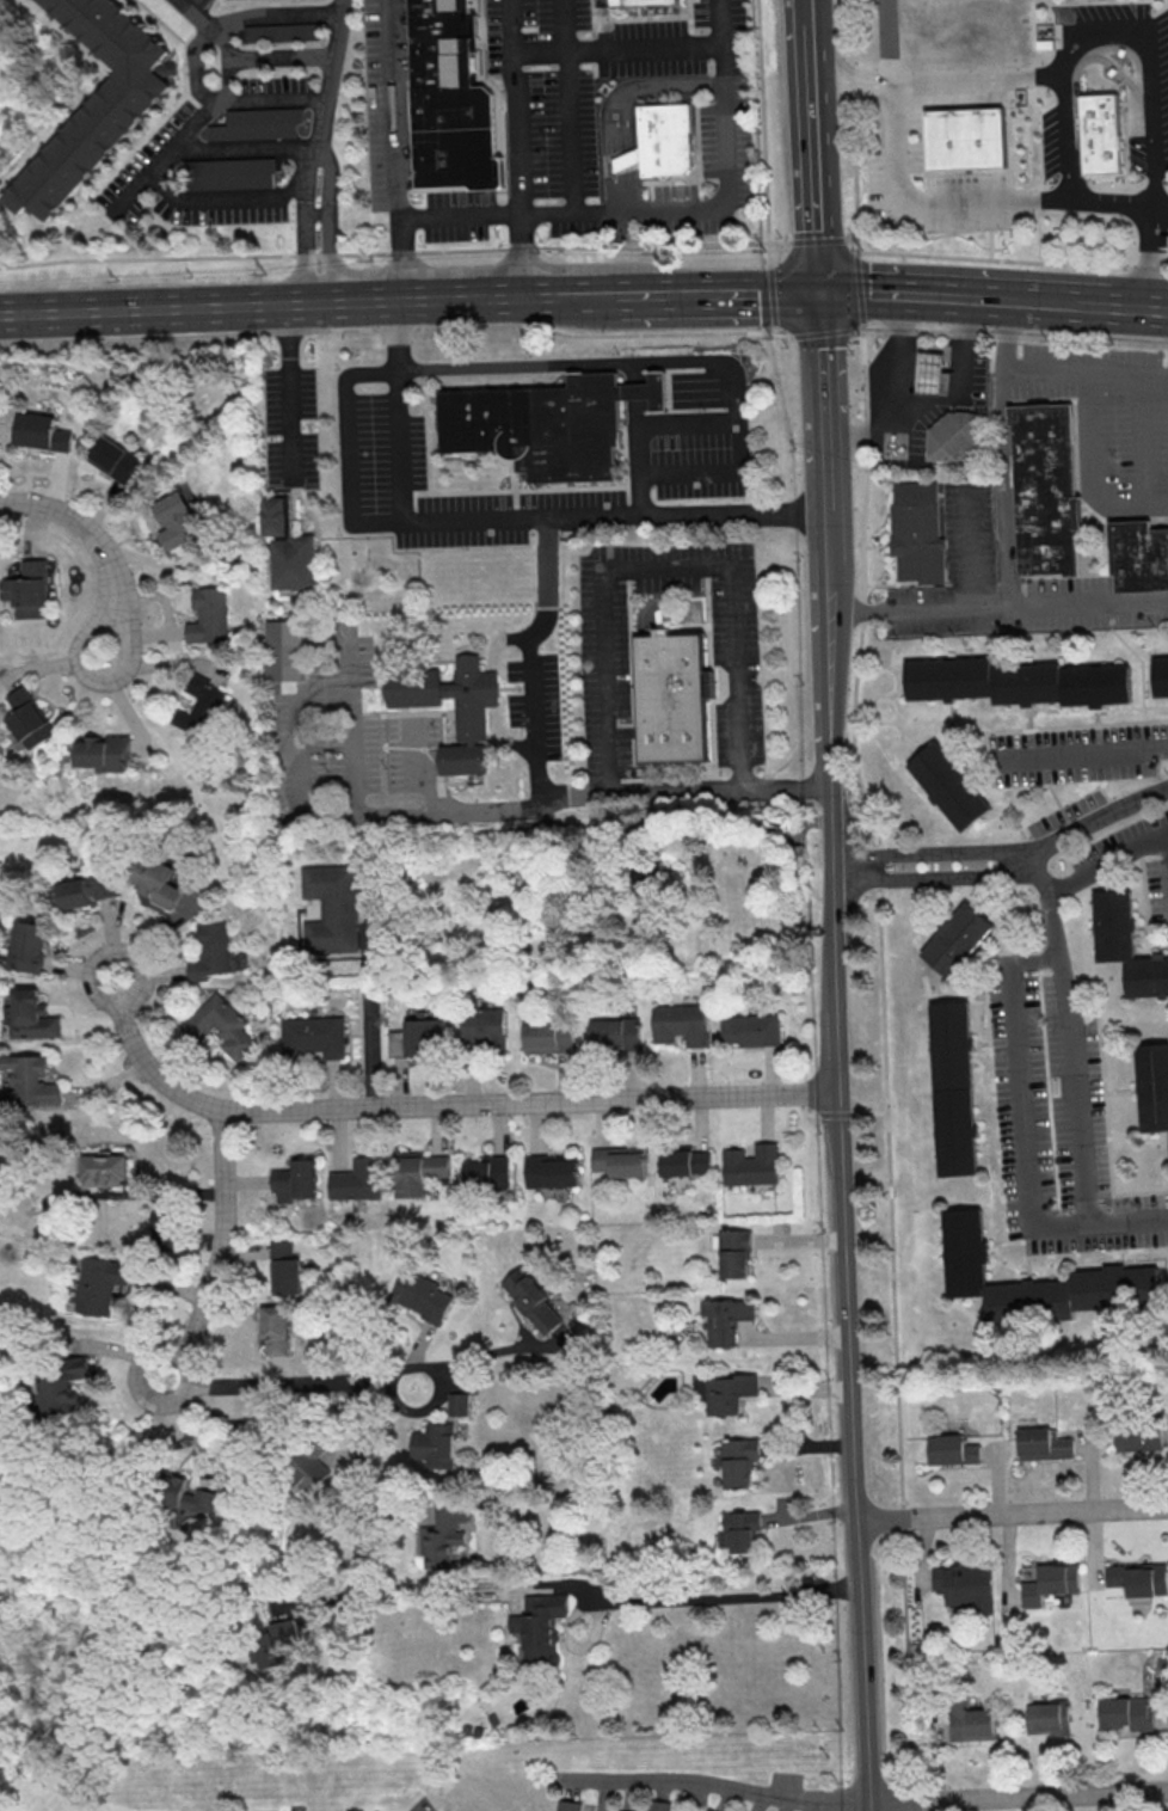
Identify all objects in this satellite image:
building: (199, 1)
building: (645, 2)
road: (805, 10)
road: (192, 14)
building: (279, 32)
road: (886, 43)
road: (615, 47)
road: (192, 55)
road: (278, 56)
road: (1149, 57)
road: (842, 62)
road: (328, 73)
road: (977, 79)
parking lot: (1155, 87)
road: (809, 91)
building: (449, 100)
building: (94, 103)
road: (622, 104)
road: (566, 105)
road: (841, 112)
parking lot: (578, 117)
building: (256, 123)
road: (190, 127)
road: (854, 127)
building: (1102, 134)
building: (971, 135)
parking lot: (908, 136)
building: (664, 140)
road: (514, 147)
road: (247, 148)
road: (398, 149)
building: (625, 161)
road: (934, 171)
road: (308, 172)
building: (228, 173)
road: (332, 173)
road: (979, 203)
road: (225, 204)
road: (669, 209)
road: (989, 214)
road: (320, 217)
road: (814, 226)
road: (819, 239)
road: (852, 239)
road: (769, 240)
road: (504, 247)
road: (309, 251)
road: (332, 252)
road: (1012, 260)
traffic signals: (817, 289)
road: (714, 291)
road: (860, 291)
road: (917, 294)
road: (567, 295)
road: (506, 296)
road: (435, 297)
road: (344, 300)
road: (772, 300)
road: (1046, 301)
road: (1096, 305)
road: (155, 307)
road: (1142, 307)
road: (396, 329)
road: (1008, 330)
road: (820, 333)
road: (693, 360)
building: (928, 374)
gas station: (928, 374)
road: (1086, 375)
road: (960, 379)
road: (290, 391)
road: (900, 401)
parking lot: (1109, 420)
building: (548, 423)
building: (38, 431)
building: (953, 438)
road: (1143, 443)
road: (345, 446)
building: (113, 459)
road: (1095, 474)
building: (1045, 490)
building: (177, 518)
road: (506, 518)
road: (684, 527)
road: (1007, 530)
building: (917, 534)
road: (98, 546)
building: (287, 547)
building: (1139, 557)
parking lot: (955, 575)
road: (596, 581)
building: (27, 589)
parking lot: (1078, 606)
road: (963, 609)
building: (205, 616)
building: (284, 650)
building: (1160, 677)
building: (1016, 683)
building: (670, 696)
building: (197, 706)
building: (29, 718)
building: (471, 725)
building: (104, 751)
parking lot: (1076, 755)
road: (1082, 756)
building: (946, 787)
road: (672, 792)
road: (1096, 821)
road: (1167, 849)
road: (929, 854)
parking lot: (1131, 859)
road: (1107, 865)
building: (648, 877)
building: (161, 878)
road: (933, 879)
building: (87, 890)
building: (331, 908)
building: (955, 940)
building: (30, 946)
building: (1125, 947)
building: (210, 951)
building: (29, 1014)
building: (675, 1019)
road: (370, 1020)
building: (480, 1024)
building: (220, 1026)
building: (748, 1031)
building: (610, 1035)
building: (312, 1038)
building: (418, 1038)
building: (546, 1038)
road: (834, 1050)
road: (149, 1062)
road: (884, 1066)
road: (1072, 1078)
building: (30, 1080)
building: (1151, 1088)
building: (952, 1089)
road: (1022, 1097)
road: (530, 1104)
parking lot: (1056, 1122)
building: (617, 1160)
building: (682, 1160)
building: (746, 1167)
building: (420, 1168)
building: (105, 1170)
building: (486, 1170)
building: (548, 1170)
building: (356, 1179)
building: (291, 1185)
building: (165, 1228)
road: (221, 1253)
building: (734, 1253)
building: (284, 1267)
building: (1135, 1271)
building: (99, 1284)
building: (423, 1295)
building: (533, 1300)
building: (725, 1320)
building: (276, 1330)
road: (475, 1359)
building: (62, 1383)
road: (290, 1383)
building: (727, 1393)
building: (459, 1404)
road: (358, 1422)
building: (1135, 1437)
building: (1041, 1443)
road: (239, 1444)
building: (435, 1445)
building: (949, 1448)
building: (738, 1461)
building: (307, 1471)
building: (184, 1494)
road: (1010, 1512)
building: (739, 1531)
building: (443, 1535)
building: (1137, 1578)
road: (473, 1580)
building: (1049, 1583)
building: (964, 1586)
road: (739, 1594)
building: (540, 1626)
building: (276, 1643)
building: (1126, 1713)
building: (1047, 1718)
building: (970, 1720)
road: (709, 1784)
road: (1018, 1797)
building: (566, 1805)
building: (657, 1805)
building: (617, 1810)
building: (707, 1810)

